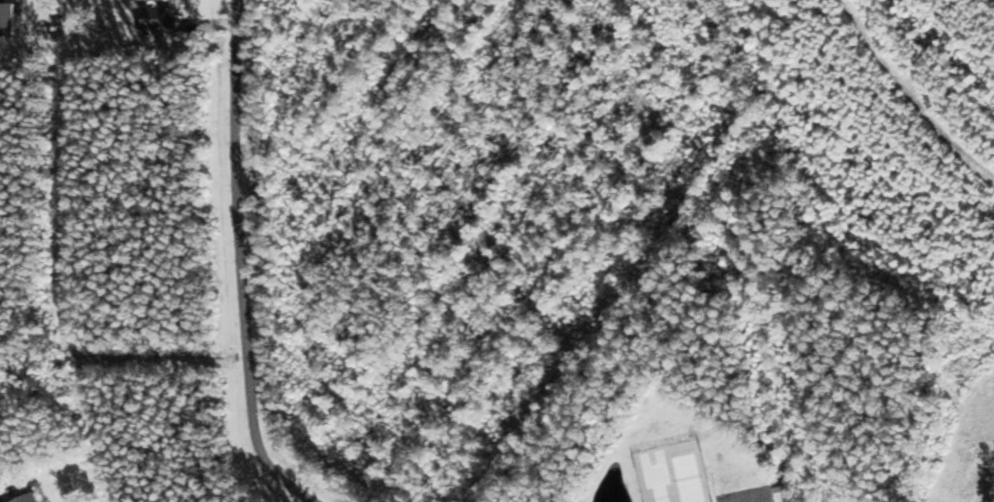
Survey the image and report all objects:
building: (159, 19)
road: (247, 263)
building: (784, 487)
building: (33, 499)

